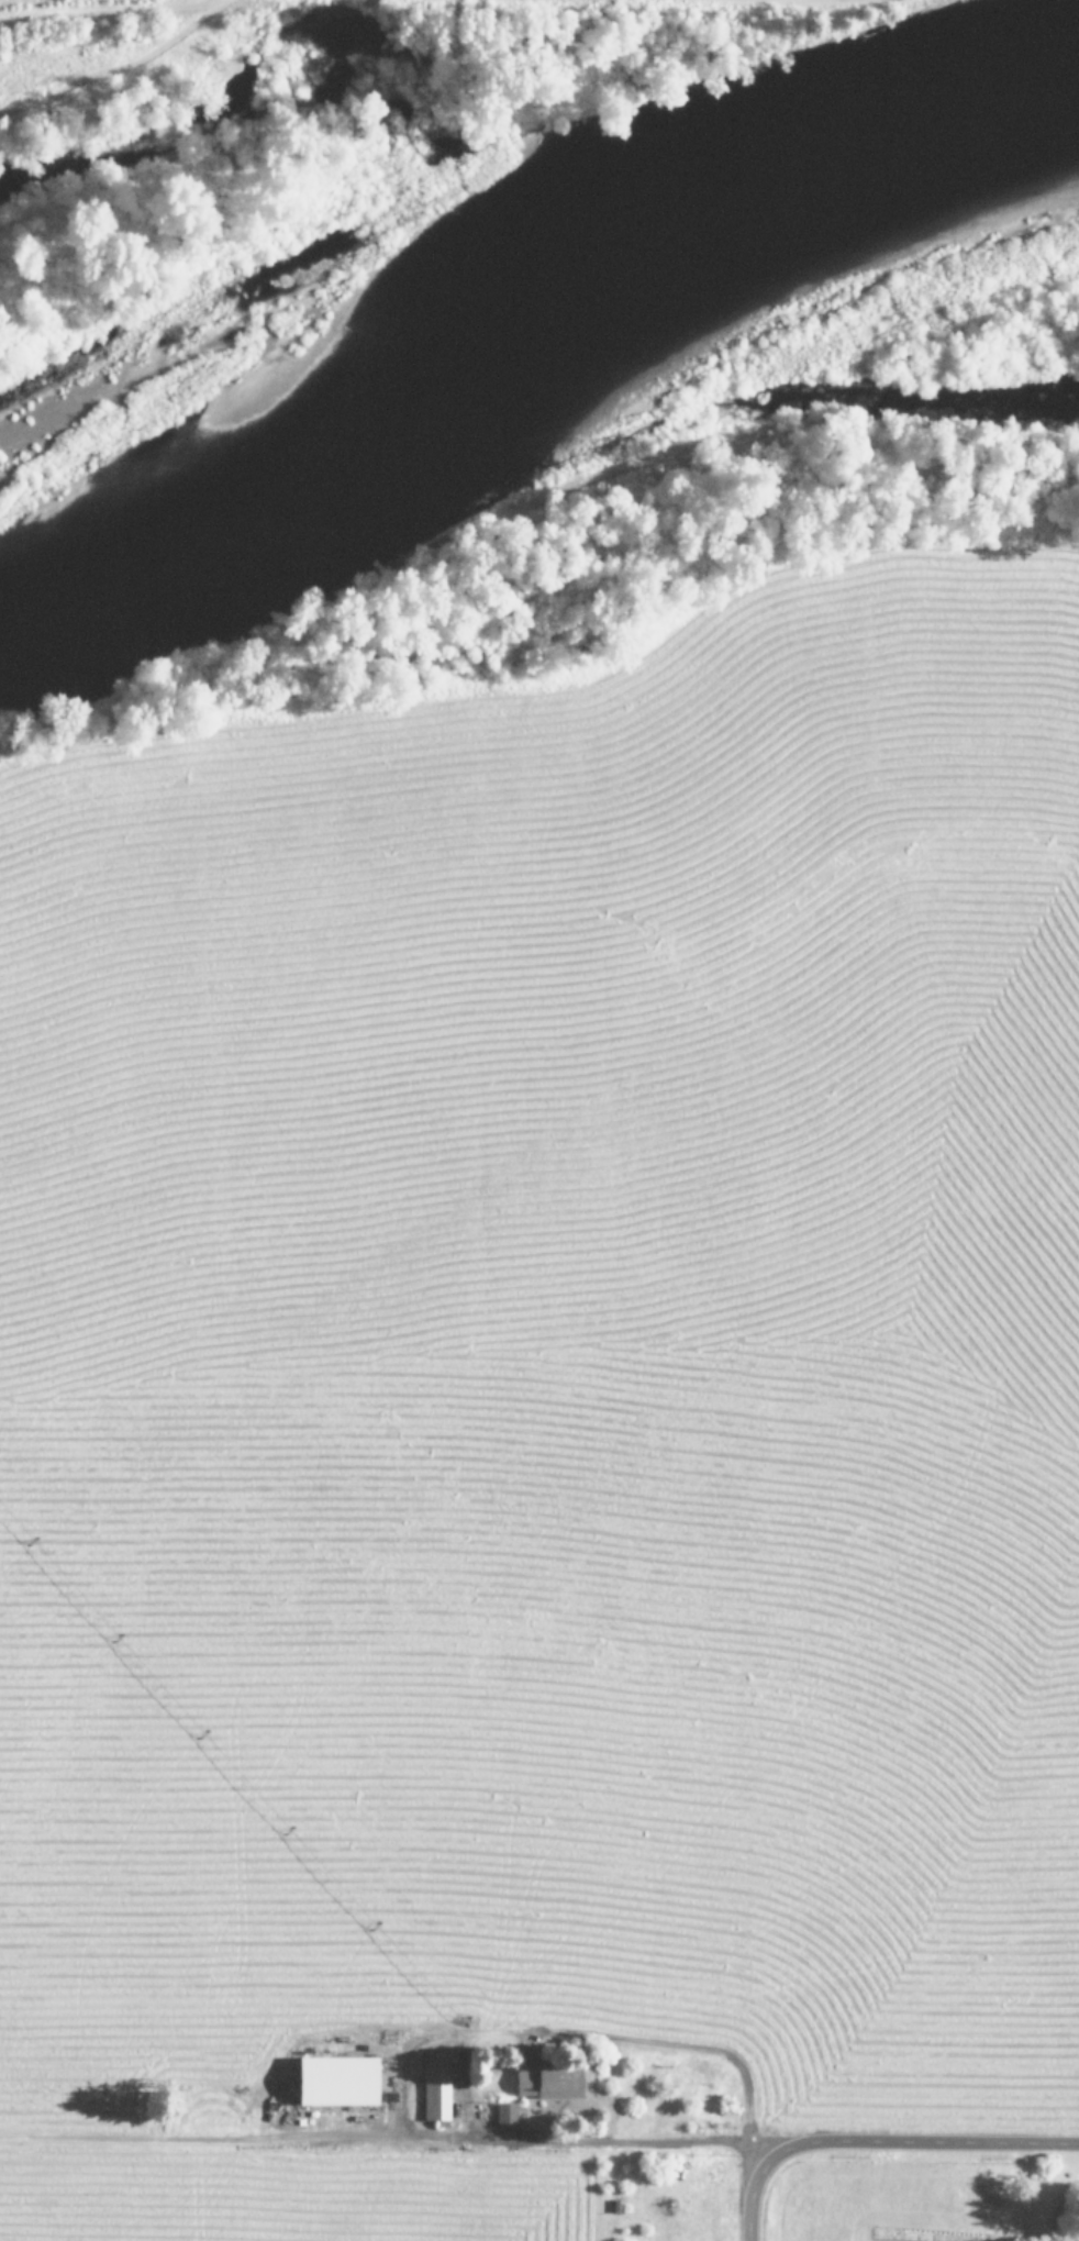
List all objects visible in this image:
road: (12, 1)
crop: (1015, 14)
crop: (101, 42)
river: (537, 362)
crop: (552, 1433)
road: (364, 1551)
road: (761, 1819)
building: (338, 2081)
building: (548, 2082)
building: (435, 2086)
building: (505, 2114)
road: (877, 2139)

